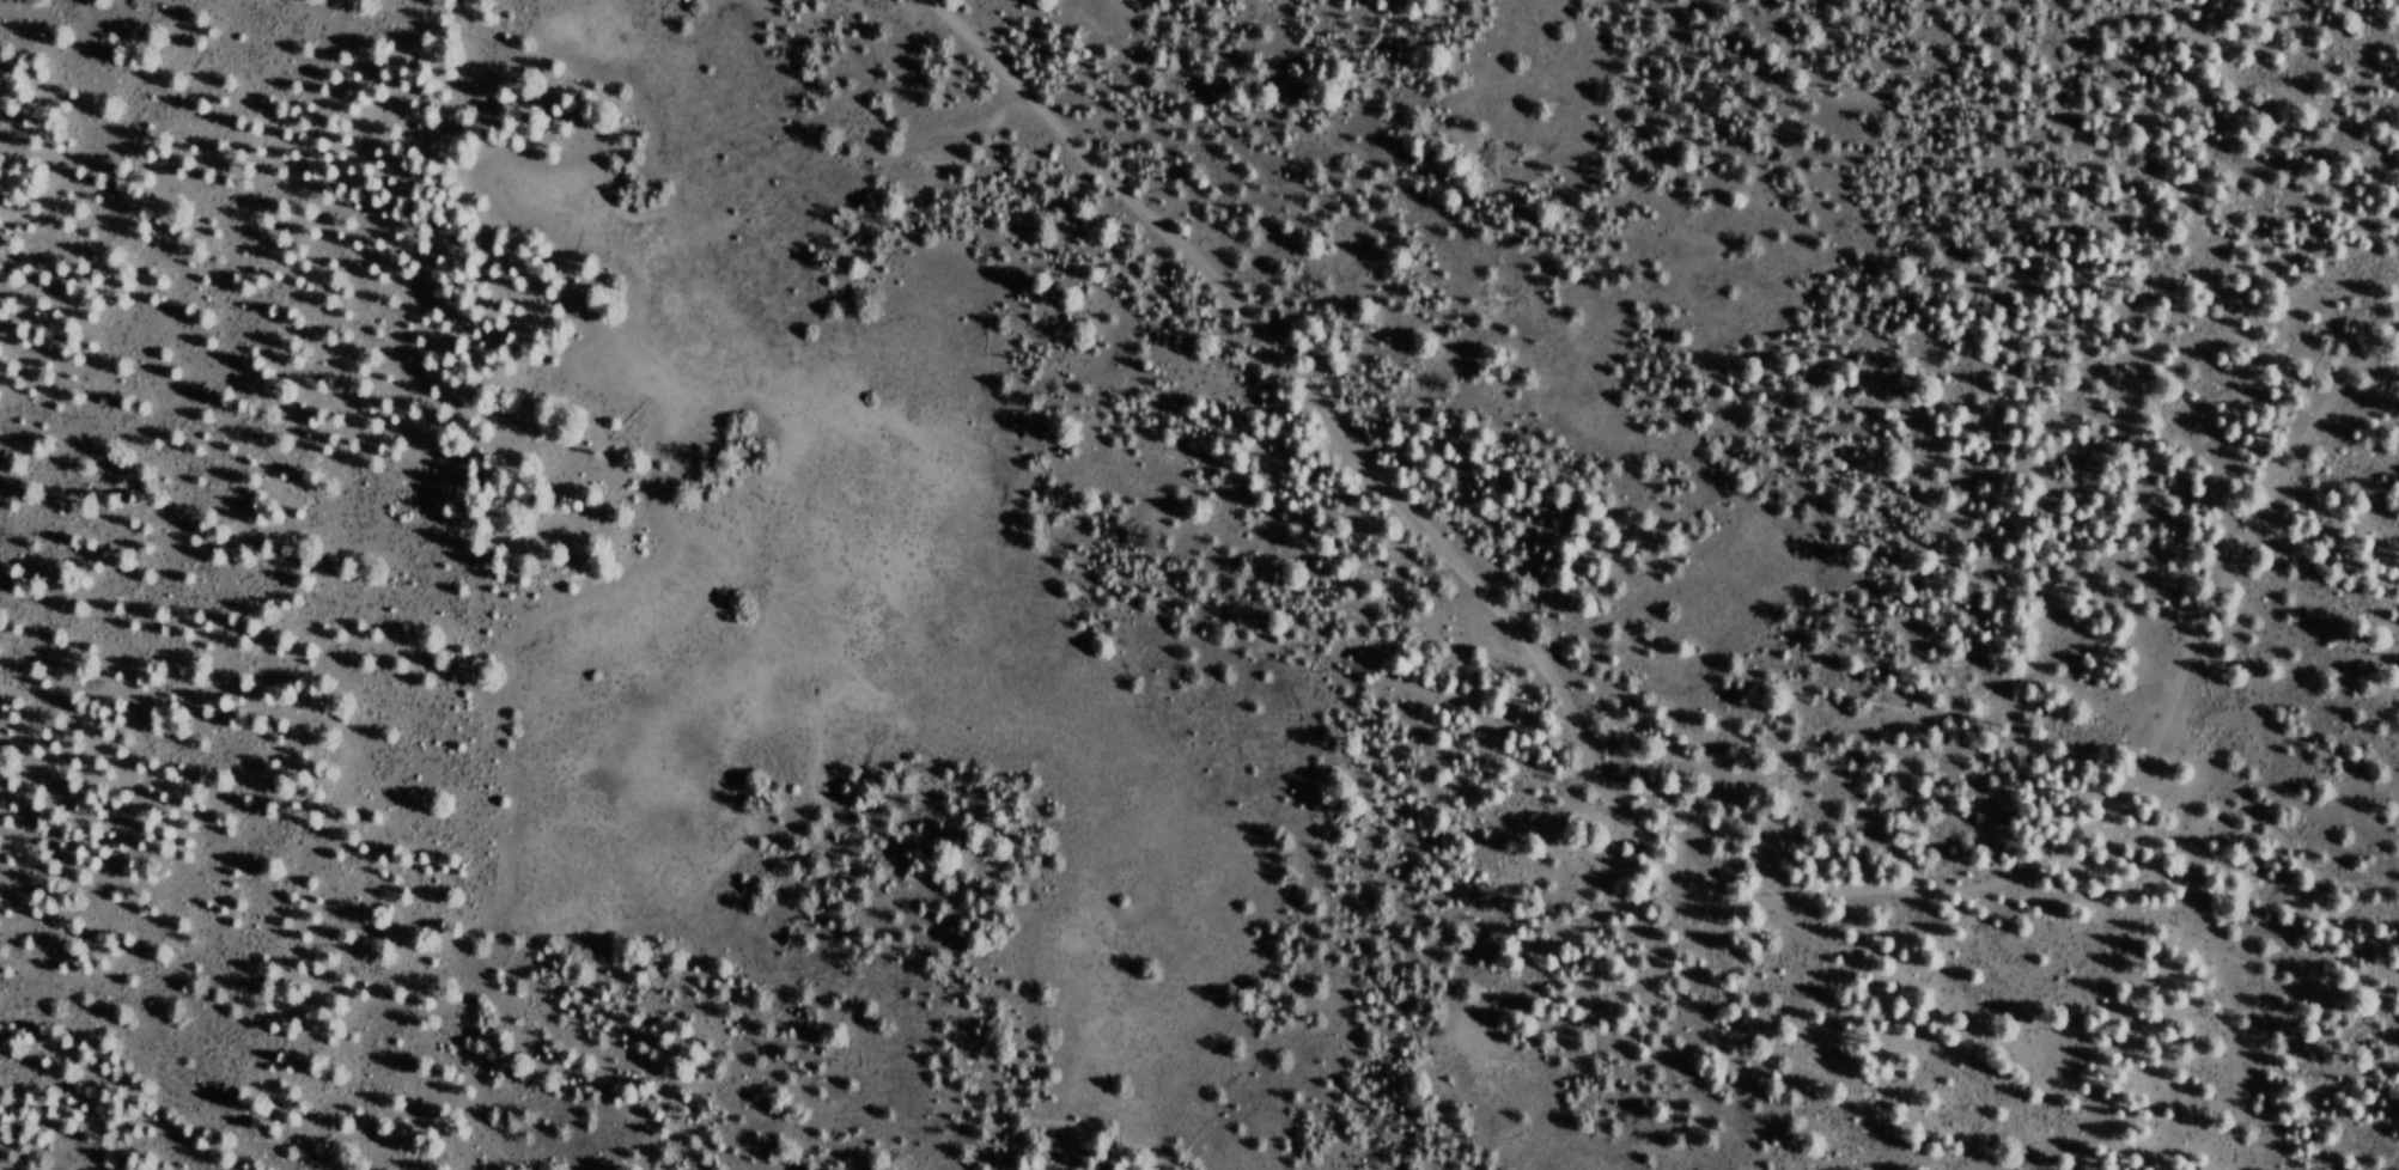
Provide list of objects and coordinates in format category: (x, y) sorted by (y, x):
road: (2343, 492)
road: (1637, 835)

